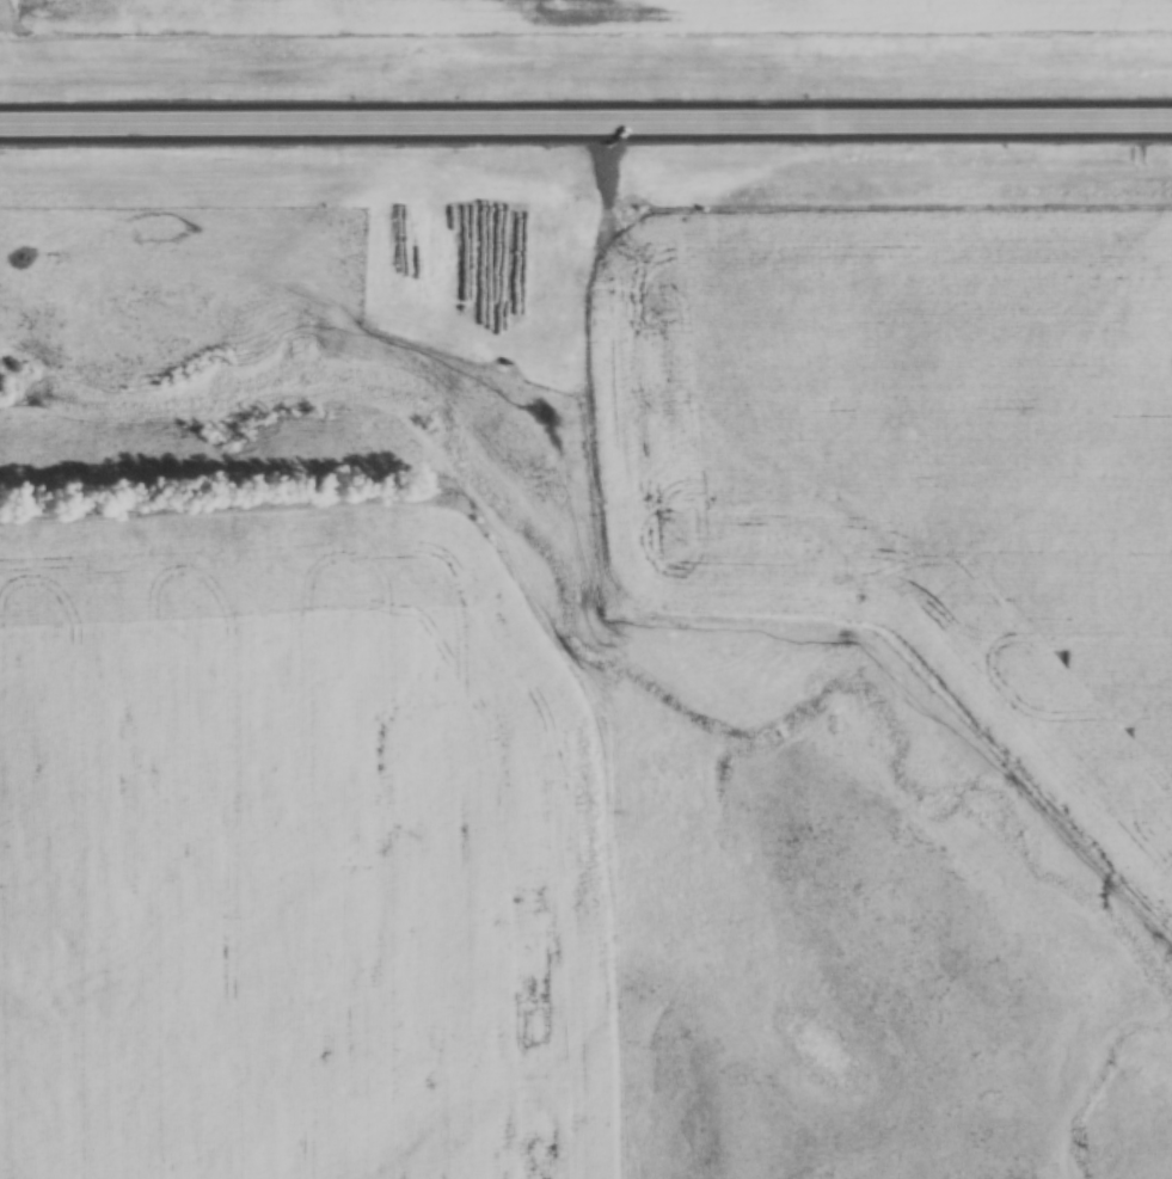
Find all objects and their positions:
road: (585, 118)

